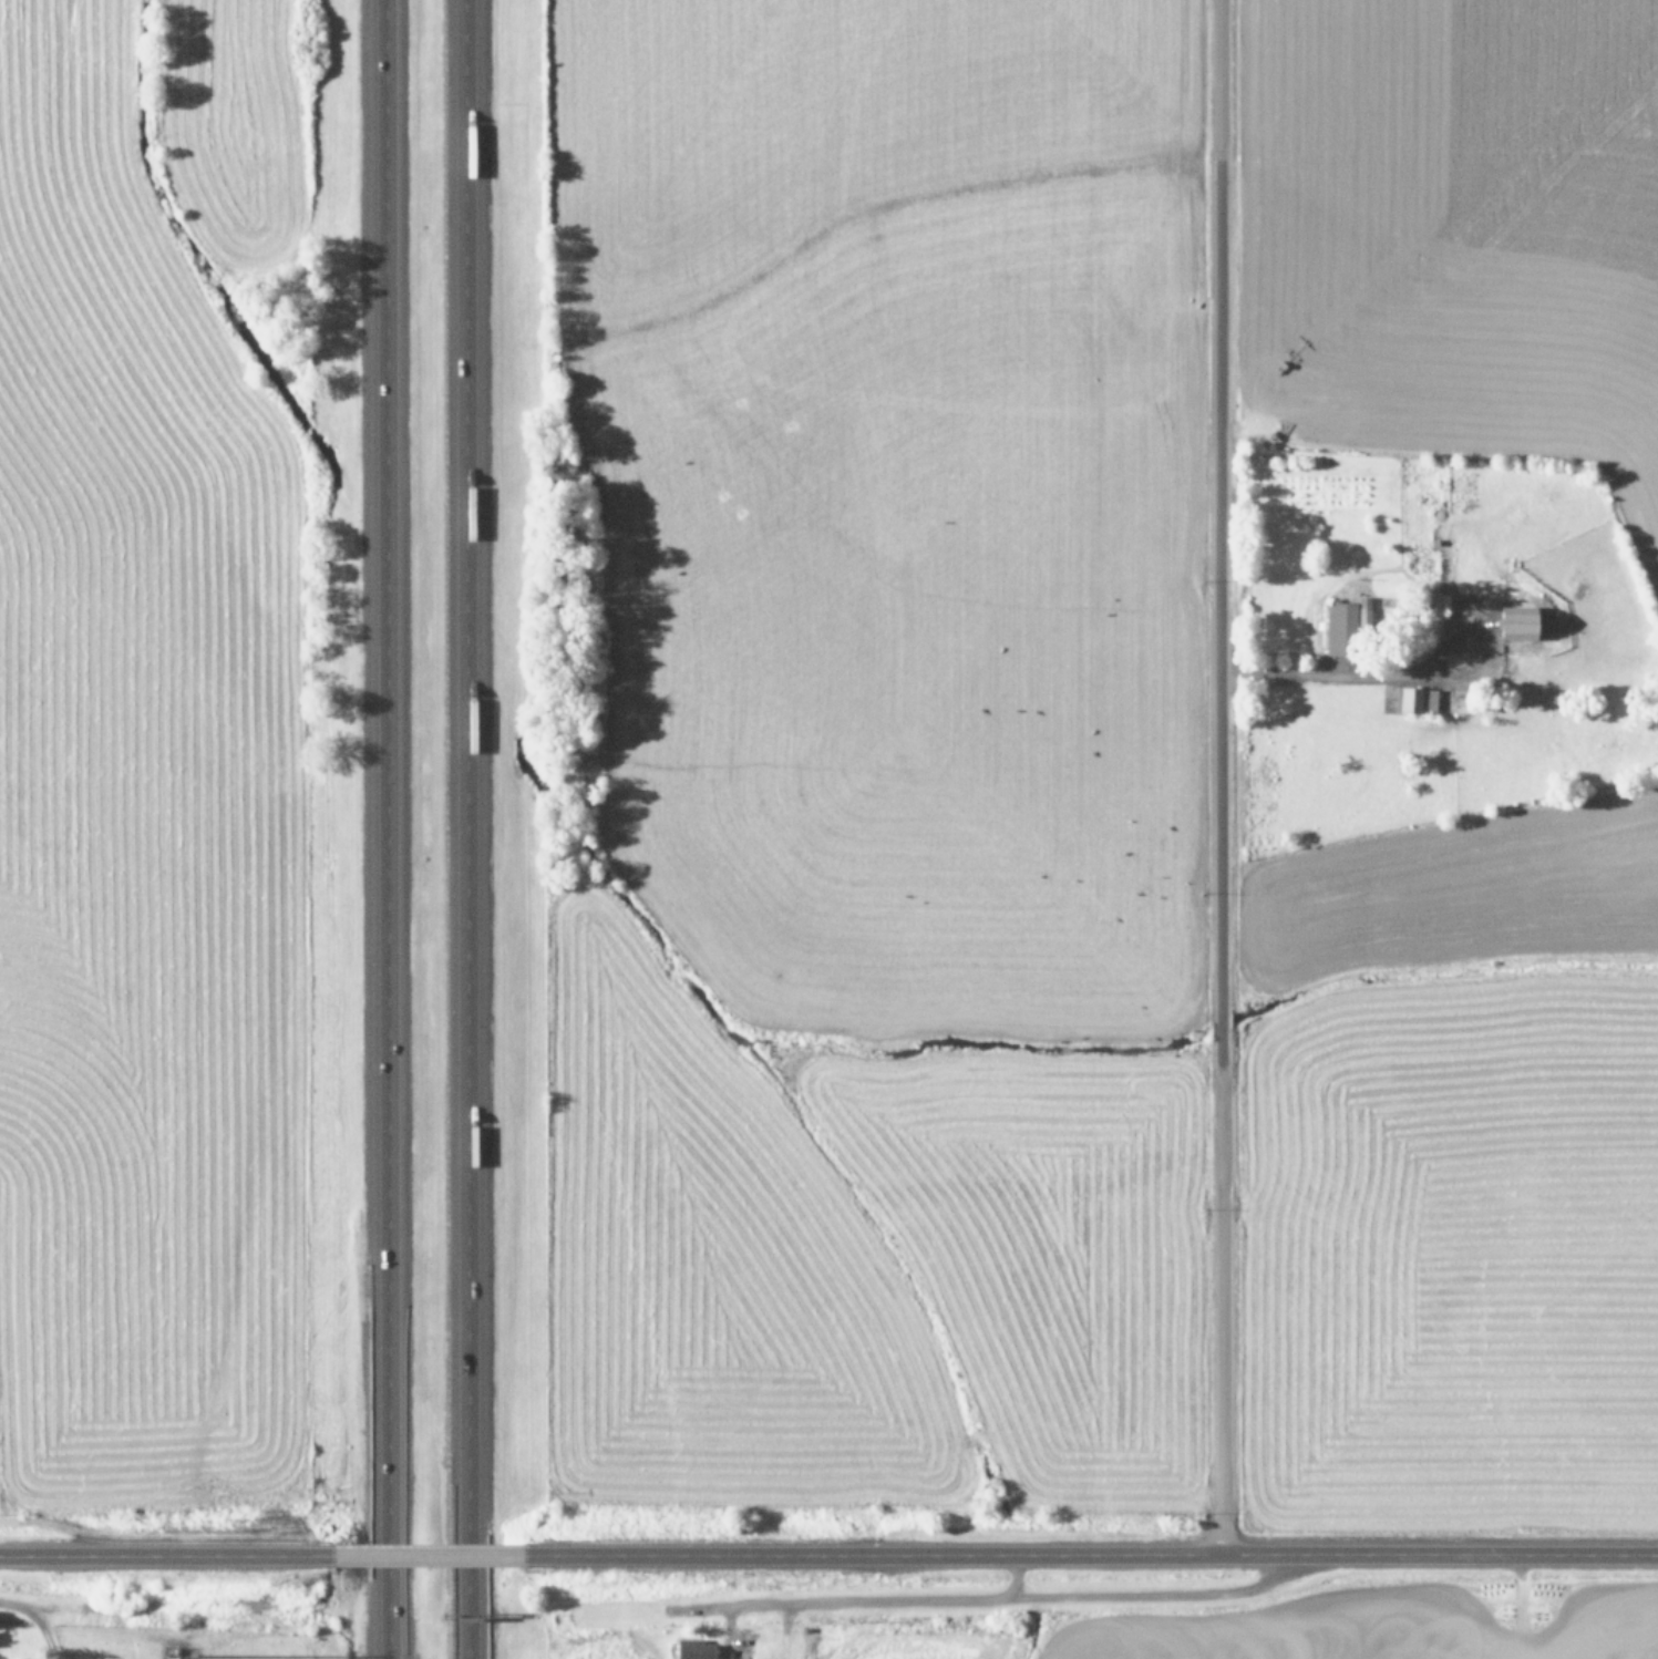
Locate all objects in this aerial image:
building: (1516, 624)
road: (1347, 671)
building: (1417, 701)
crop: (176, 758)
road: (1219, 776)
road: (402, 828)
crop: (1111, 828)
road: (468, 829)
road: (1093, 1554)
road: (429, 1555)
road: (164, 1556)
road: (992, 1601)
road: (33, 1619)
crop: (158, 1631)
building: (692, 1649)

